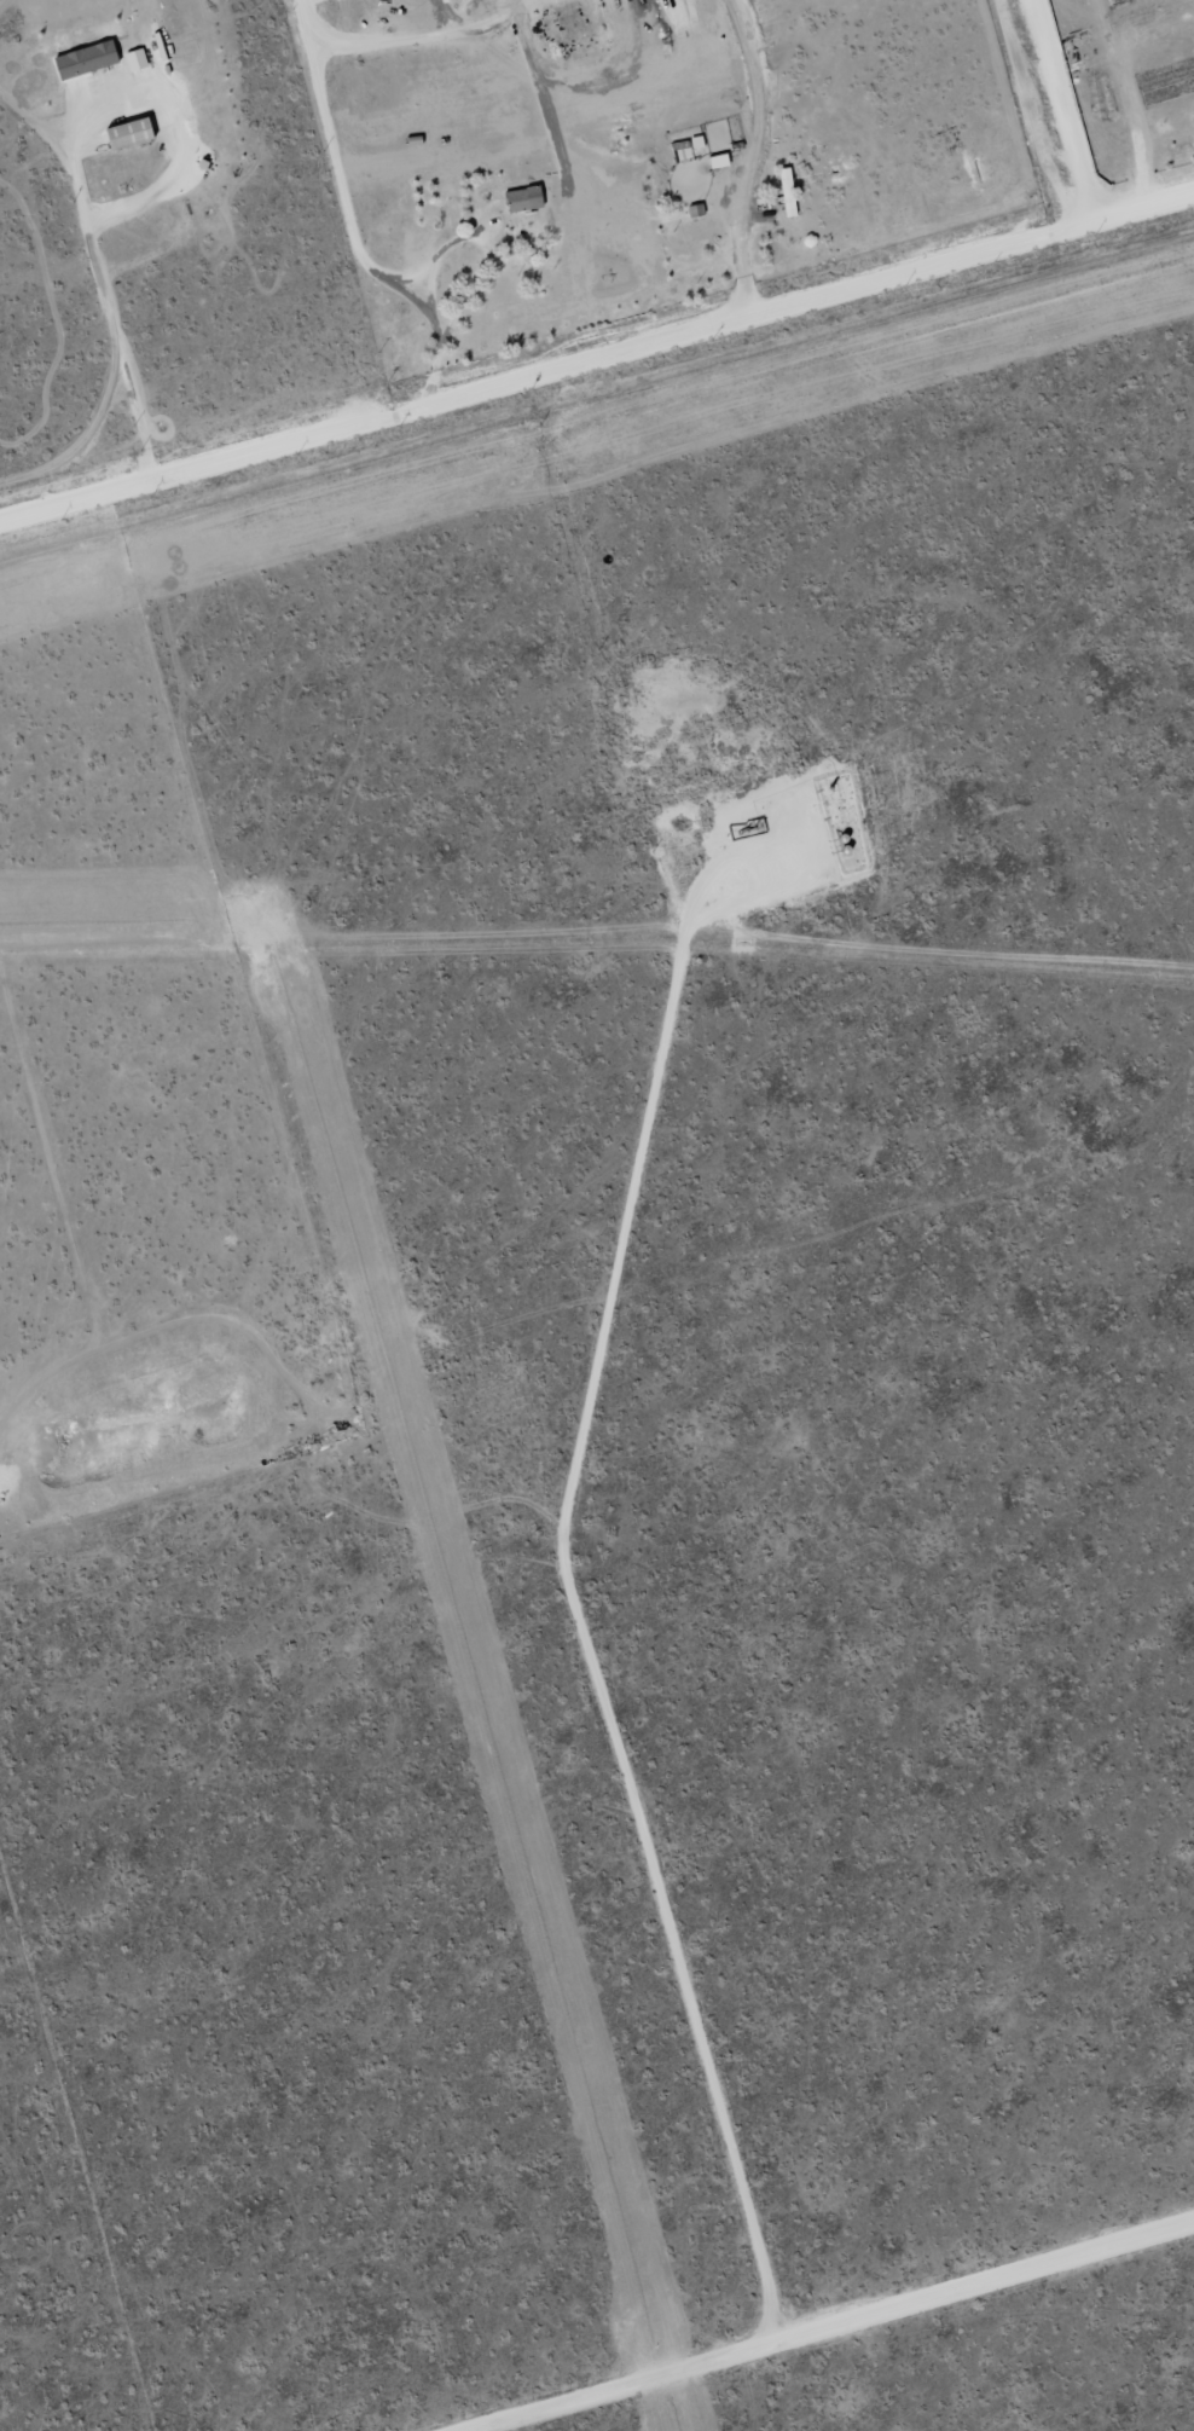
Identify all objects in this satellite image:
building: (133, 60)
building: (82, 62)
road: (1062, 106)
building: (124, 135)
building: (520, 201)
road: (597, 348)

